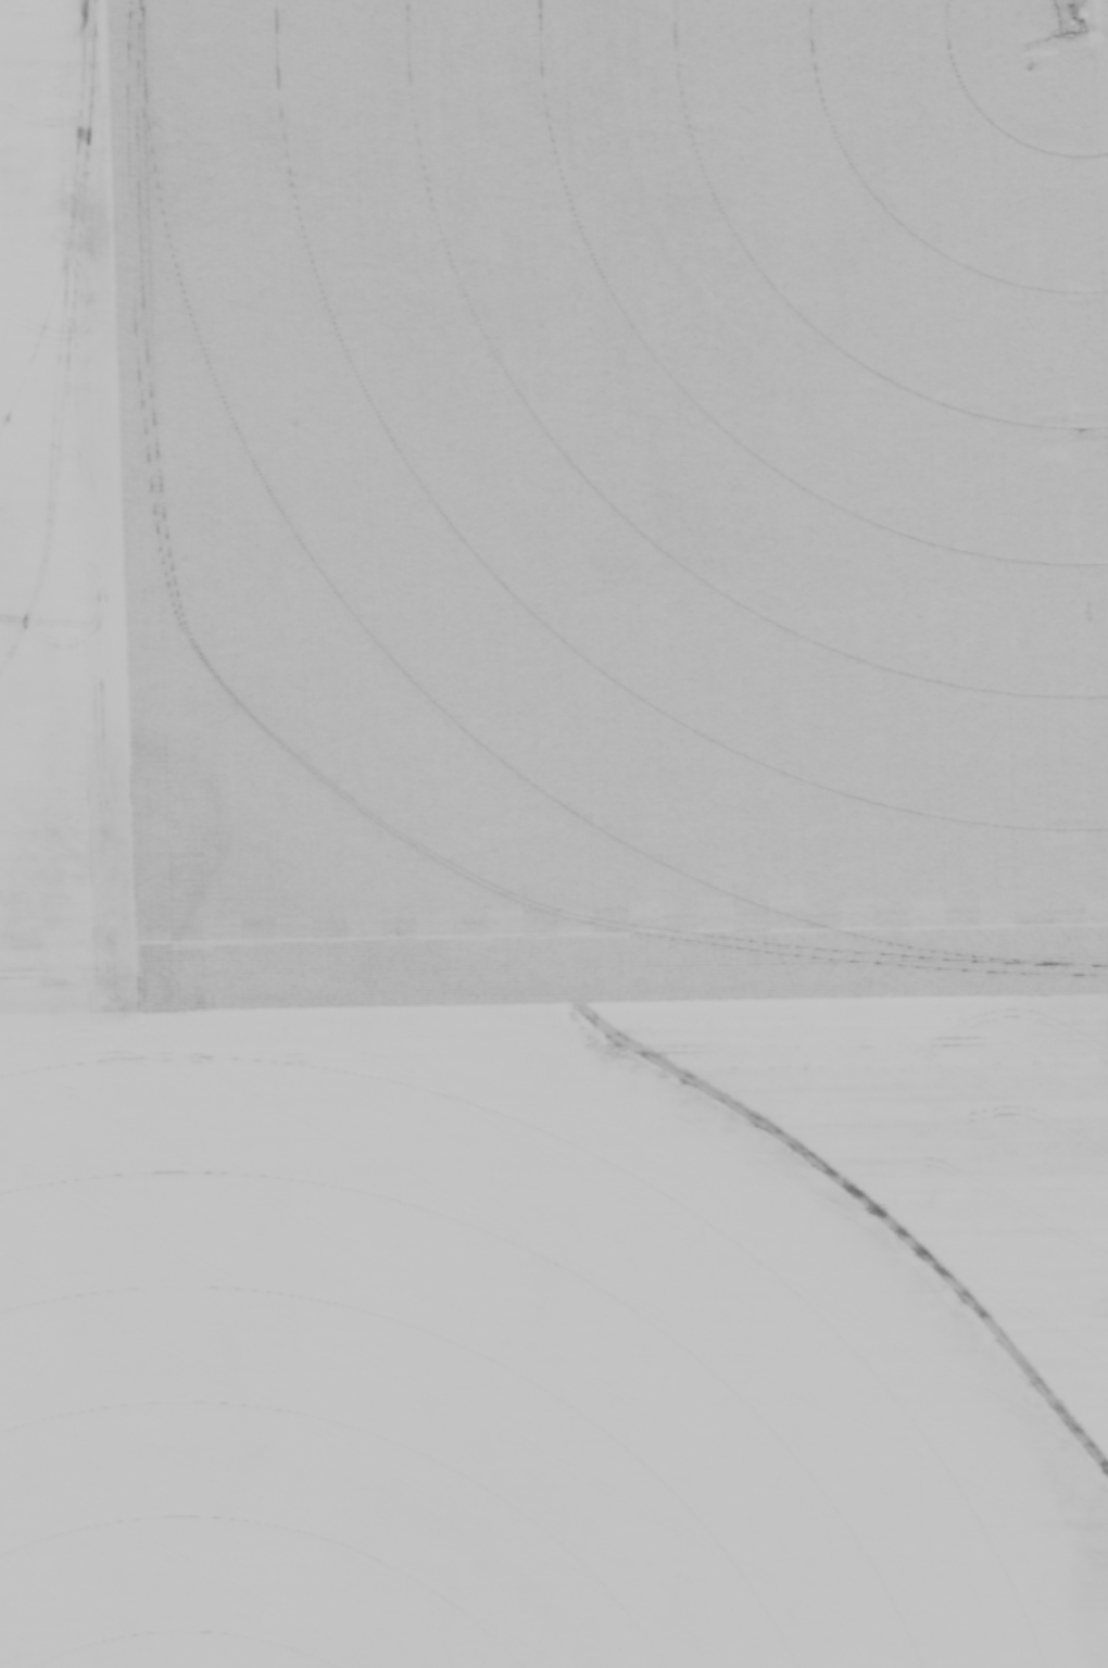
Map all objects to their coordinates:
crop: (554, 833)

